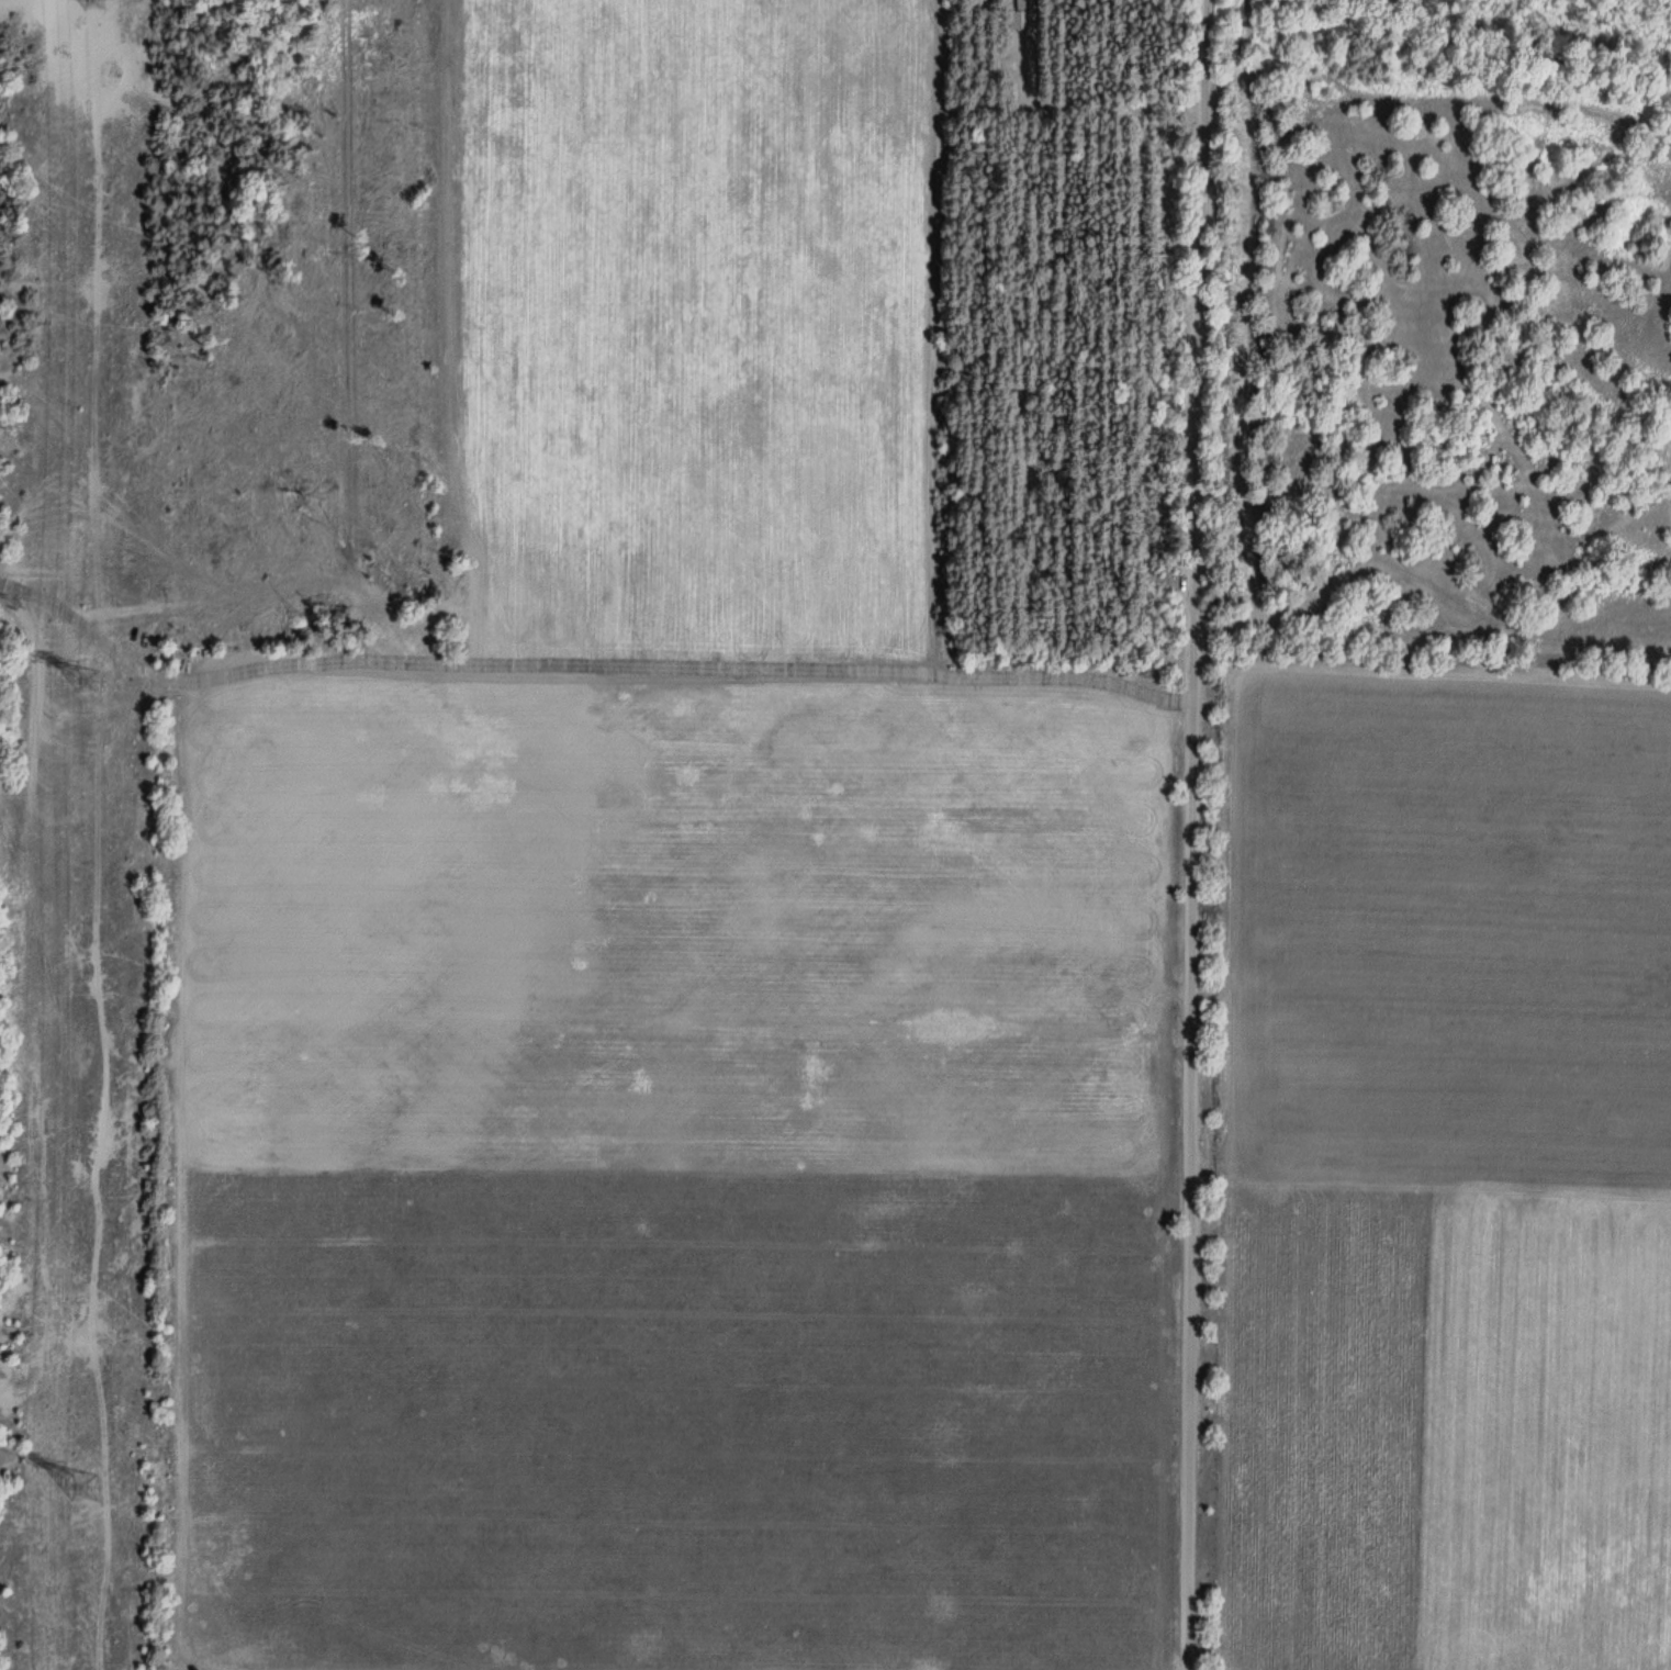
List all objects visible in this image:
road: (1018, 110)
power tower: (91, 679)
road: (1188, 834)
power tower: (87, 1481)

